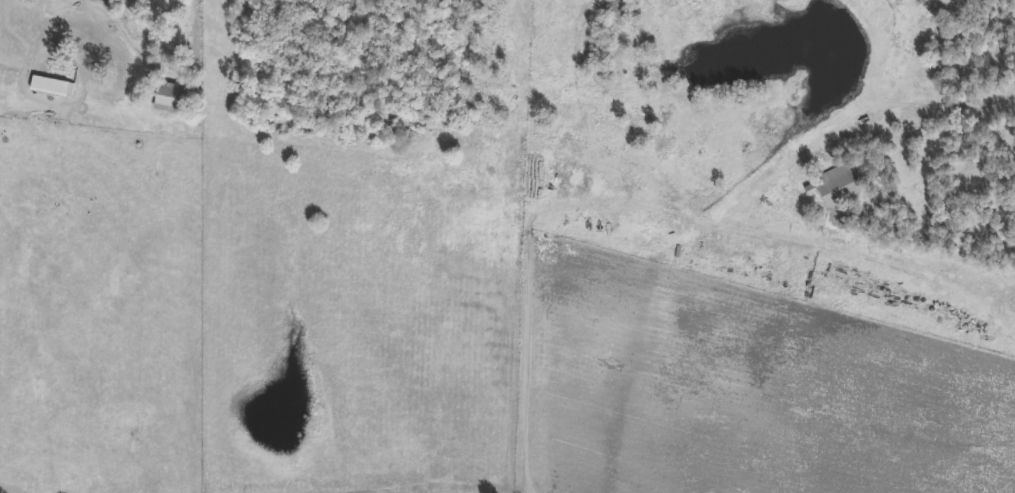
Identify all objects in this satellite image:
road: (171, 70)
building: (50, 87)
building: (194, 89)
building: (167, 98)
building: (839, 186)

